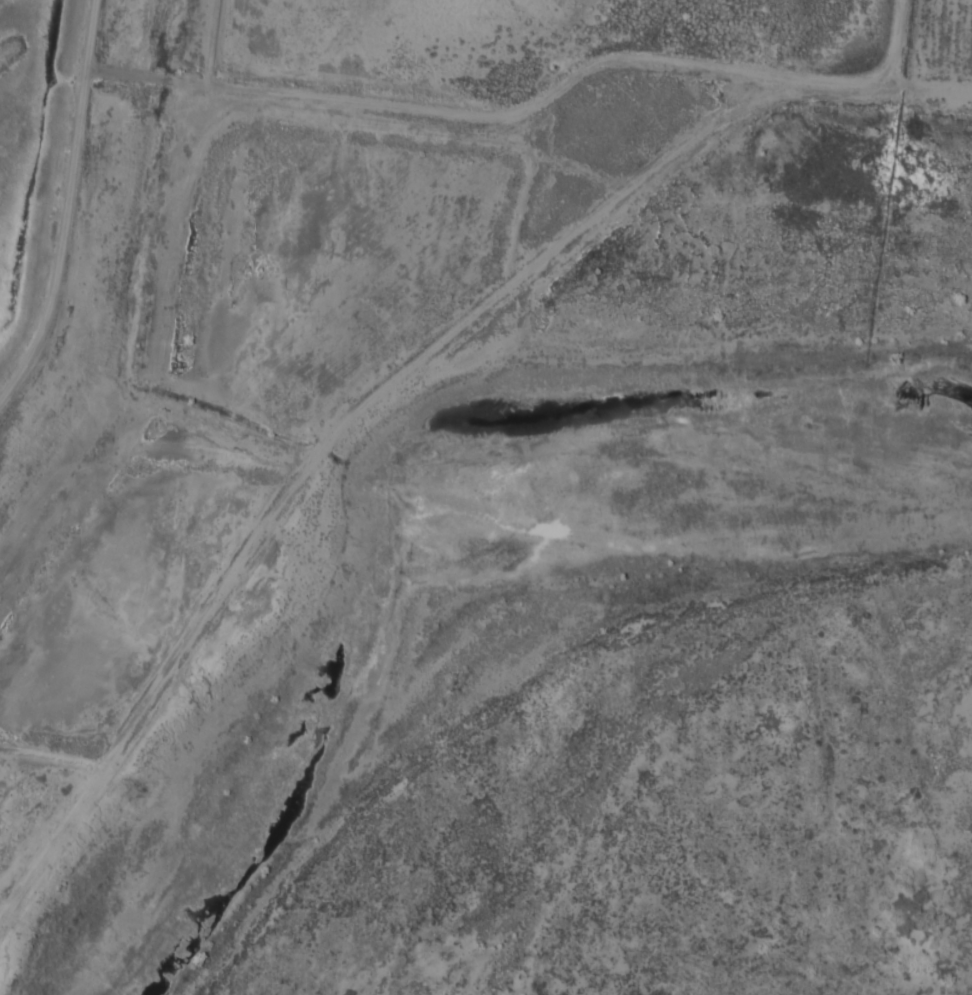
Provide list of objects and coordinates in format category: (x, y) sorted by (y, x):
road: (68, 207)

